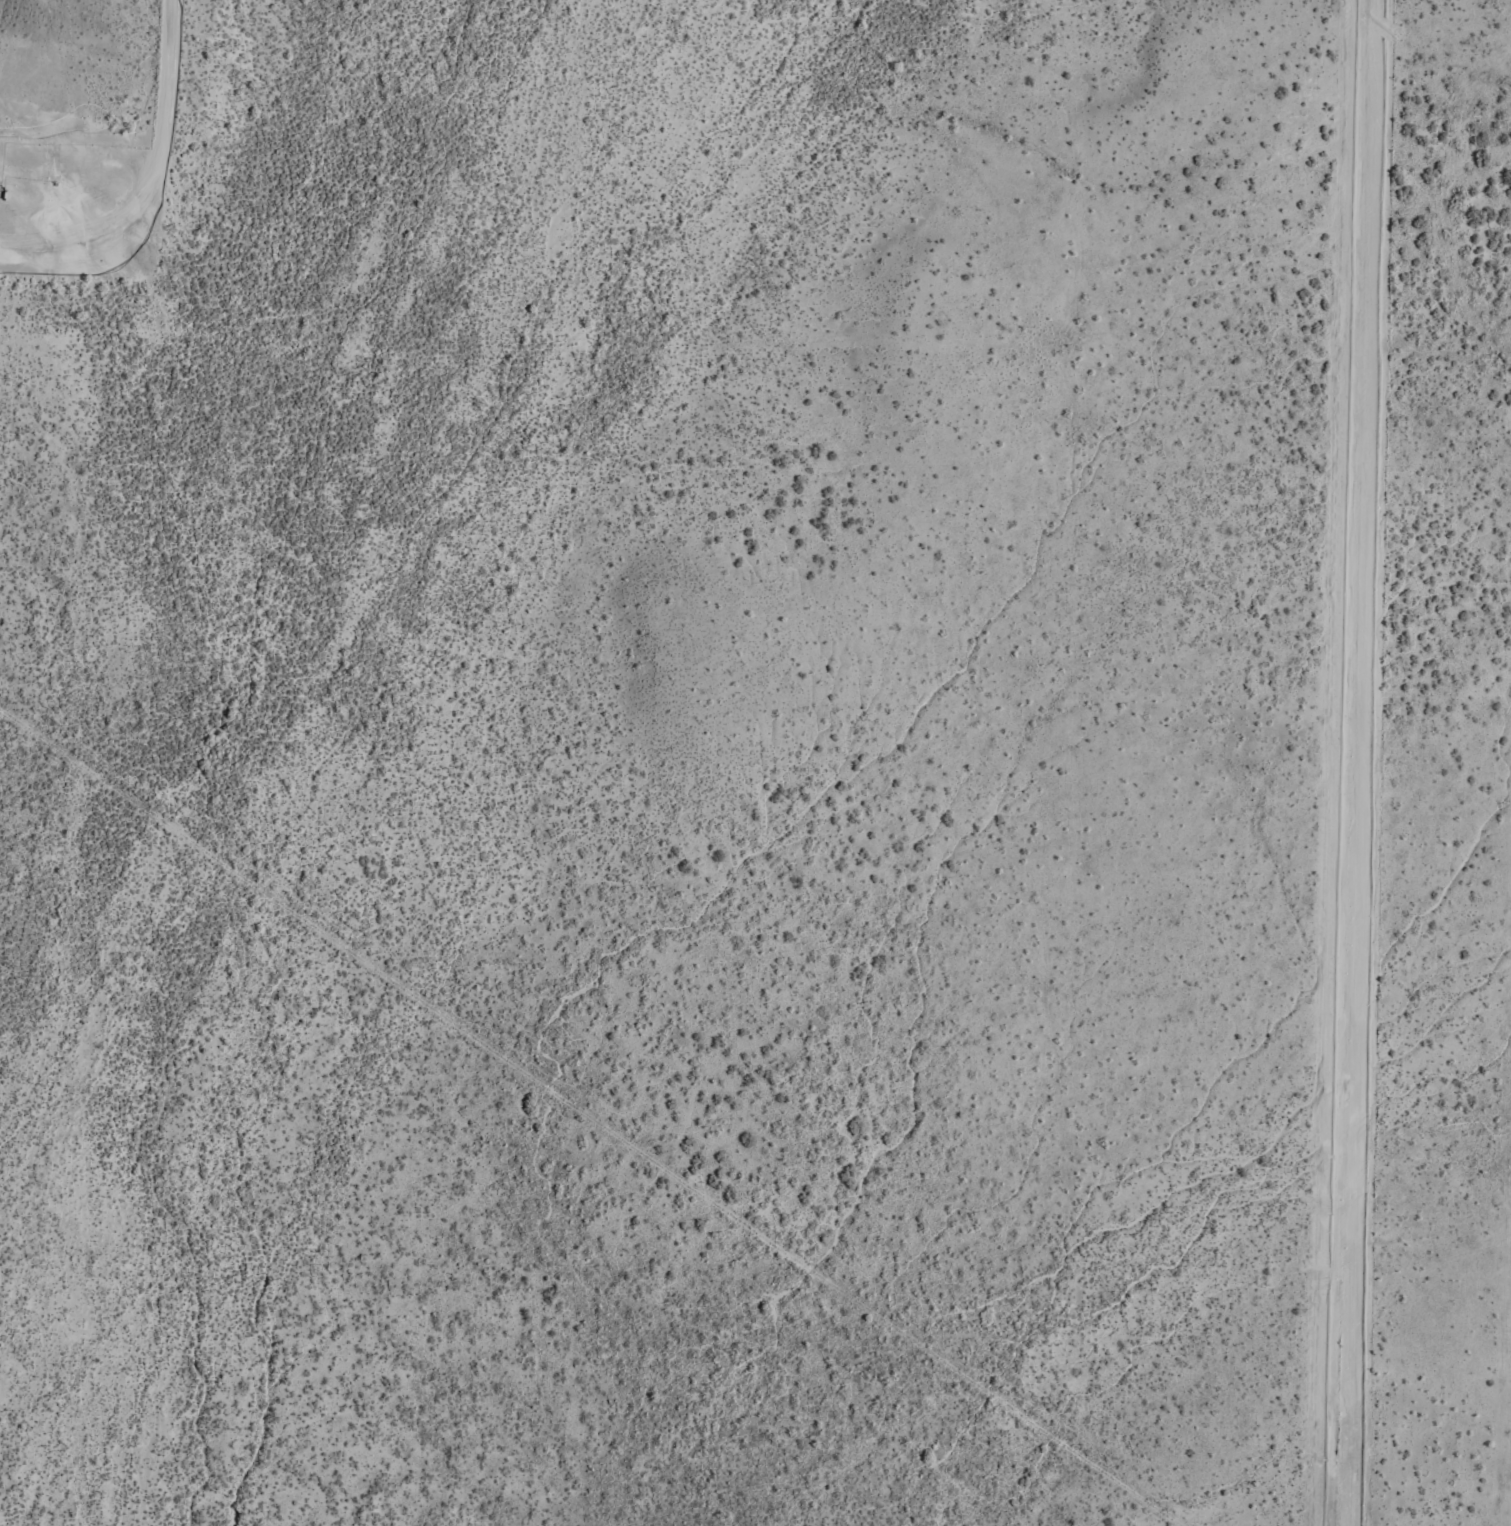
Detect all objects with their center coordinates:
road: (143, 176)
petroleum well: (54, 182)

